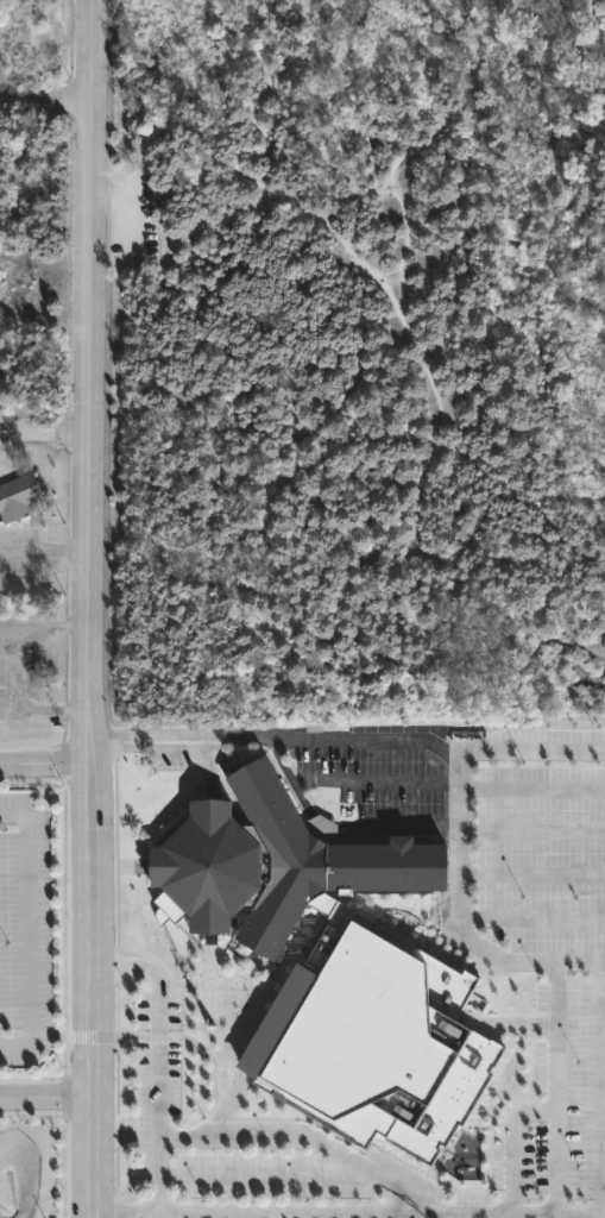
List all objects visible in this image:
road: (46, 100)
parking lot: (131, 218)
road: (422, 351)
park: (363, 360)
road: (45, 433)
building: (19, 497)
road: (84, 604)
road: (347, 740)
road: (45, 762)
road: (351, 783)
road: (531, 786)
road: (530, 831)
building: (277, 862)
road: (530, 872)
road: (530, 916)
road: (26, 935)
road: (530, 962)
road: (580, 962)
road: (152, 974)
building: (372, 1046)
road: (604, 1088)
road: (48, 1097)
road: (158, 1123)
road: (305, 1138)
road: (267, 1176)
road: (349, 1211)
road: (94, 1214)

